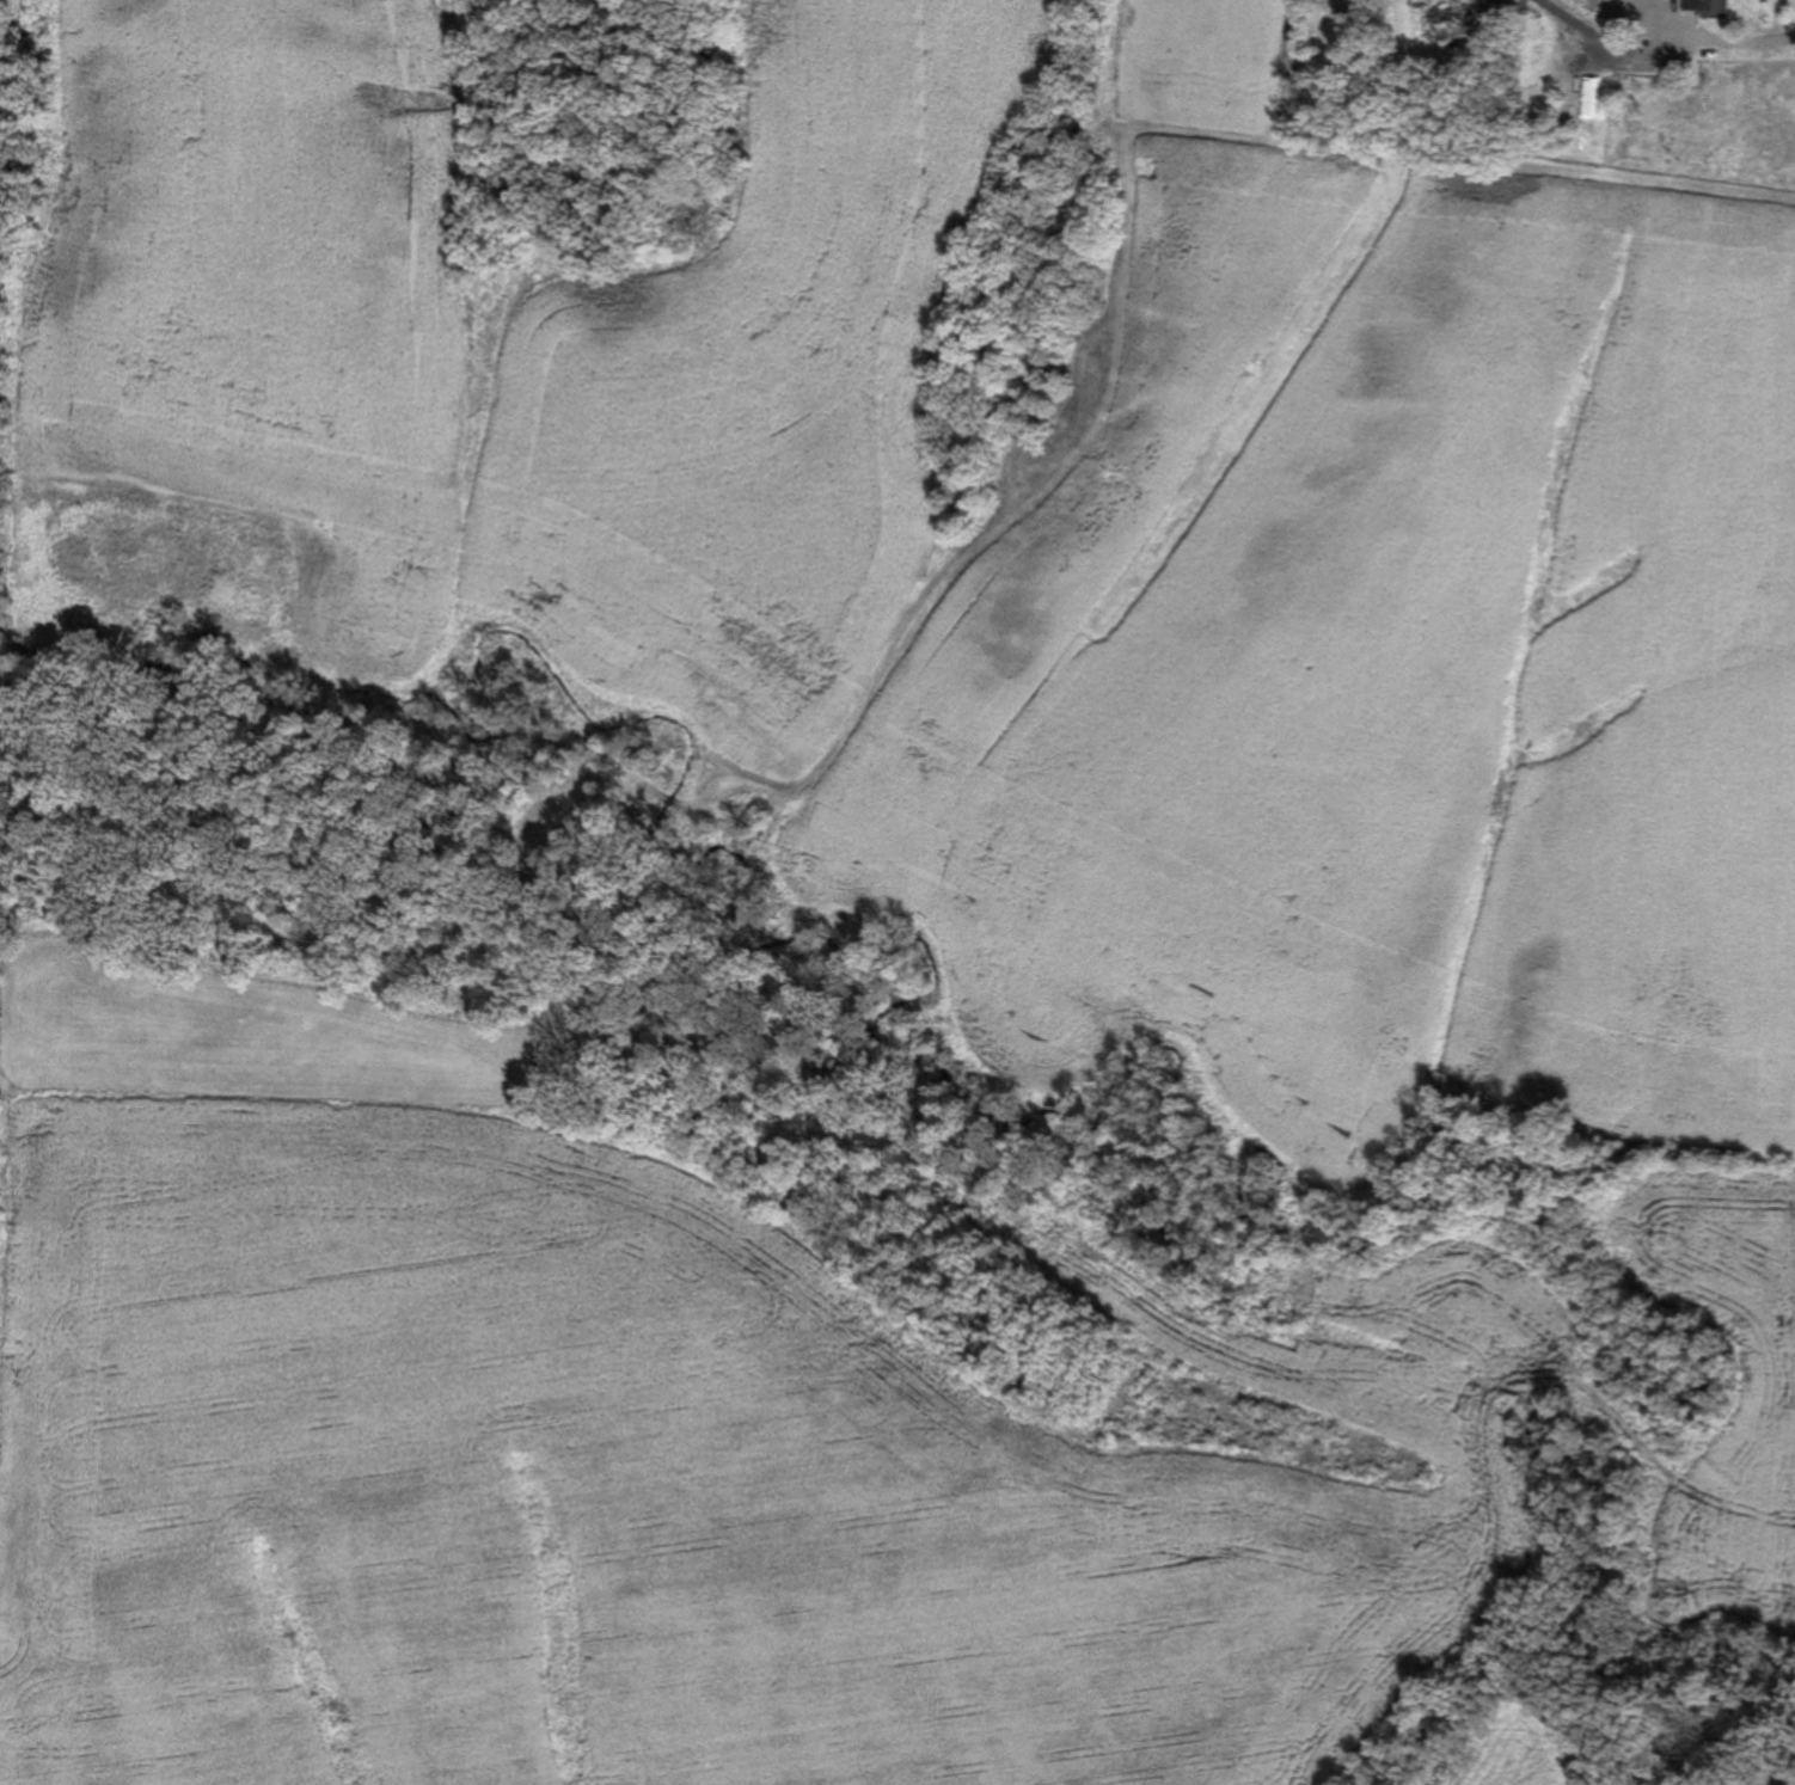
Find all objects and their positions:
building: (1713, 8)

